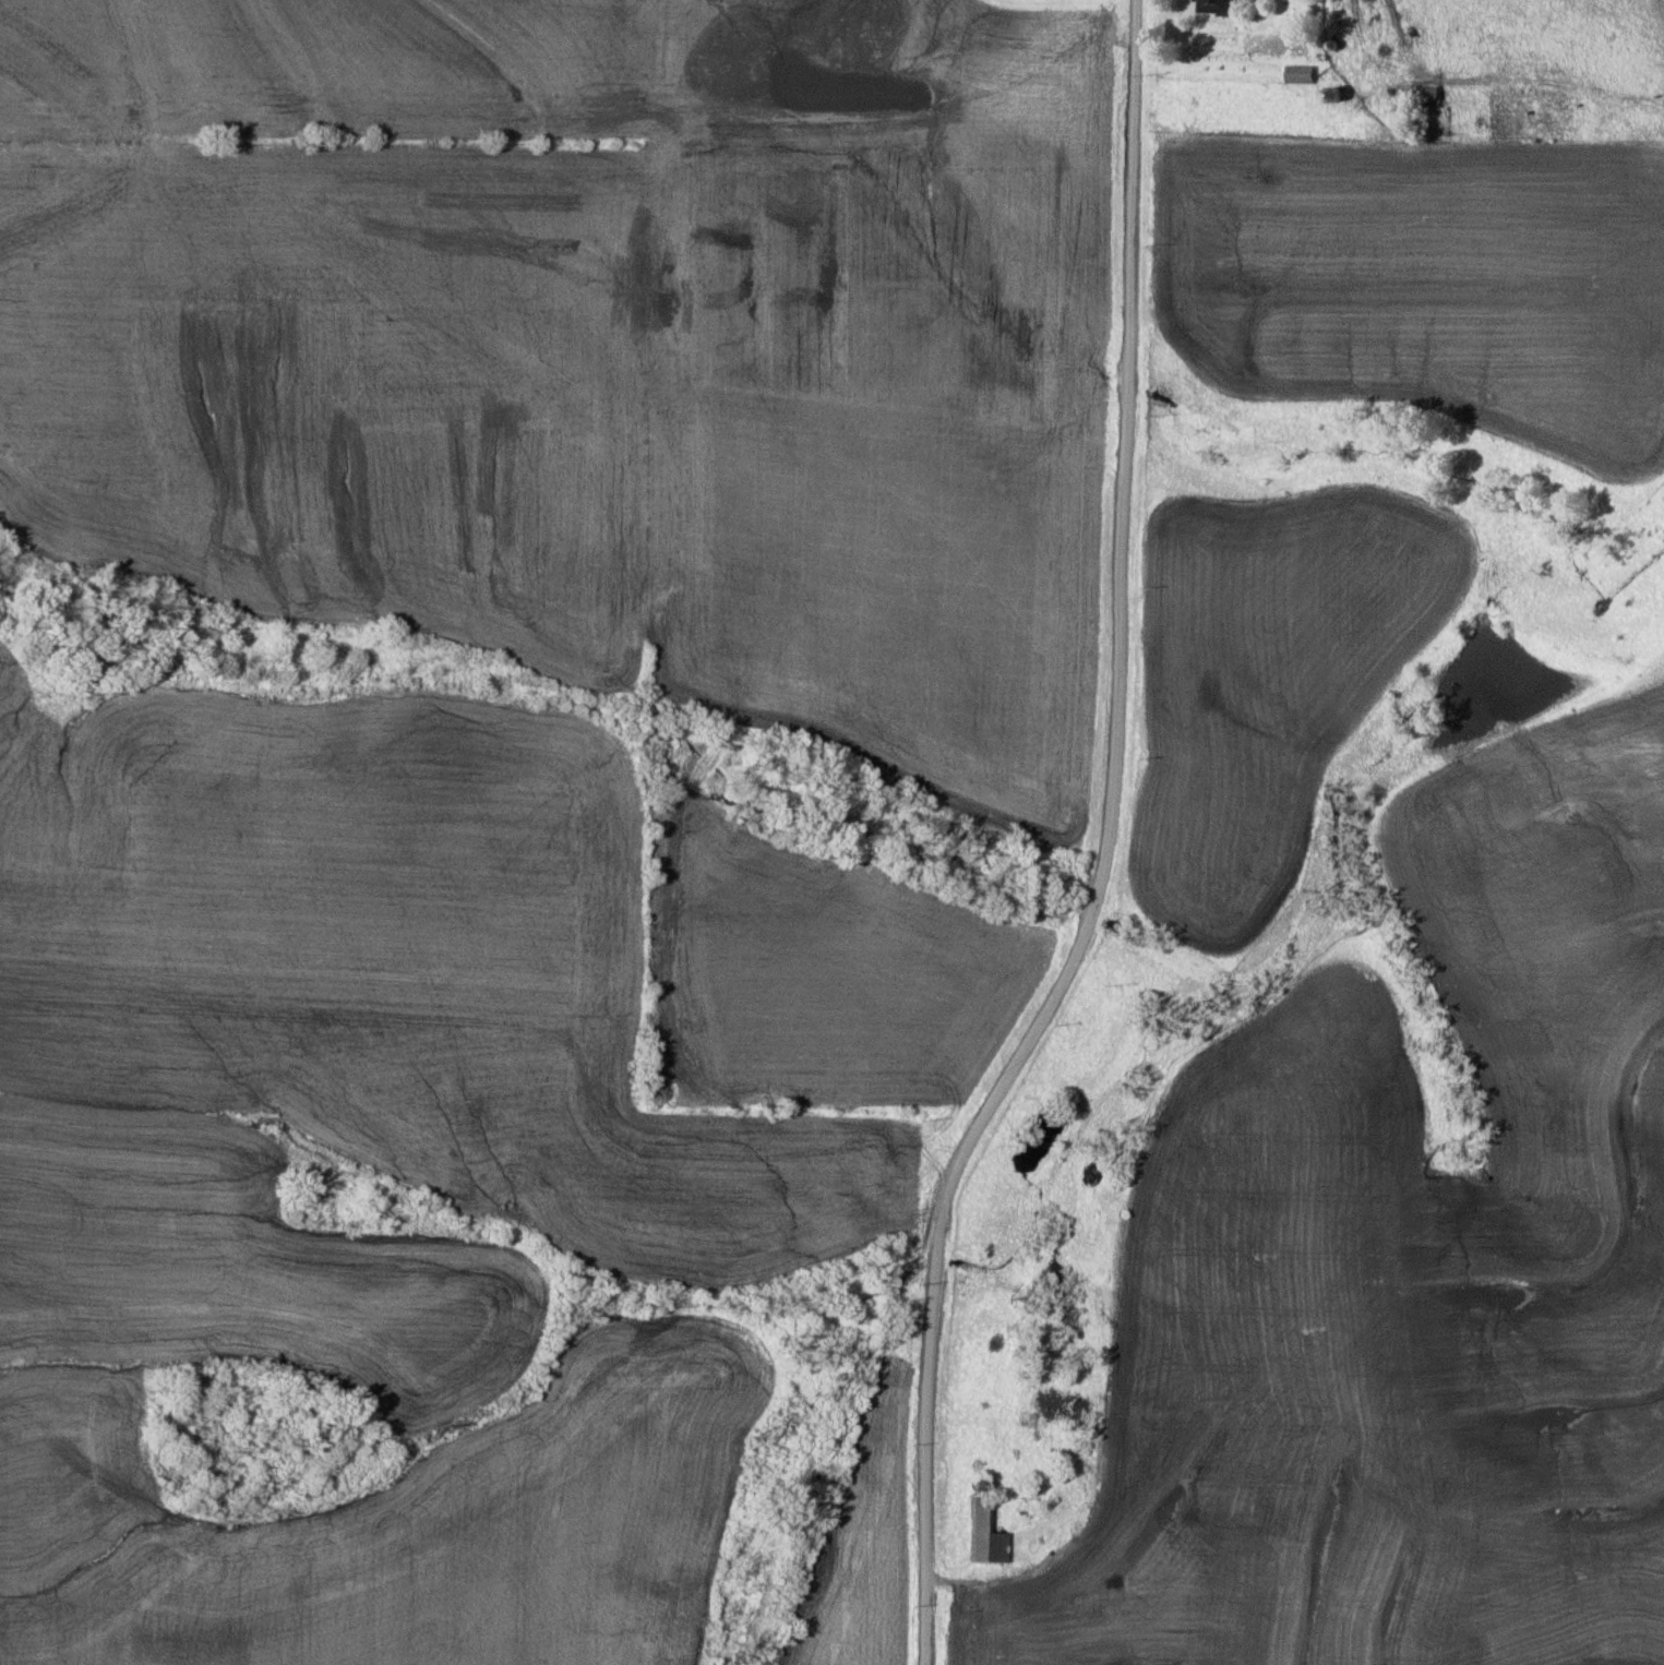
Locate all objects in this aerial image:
building: (1212, 8)
building: (1296, 74)
road: (1110, 852)
crop: (1405, 1279)
building: (982, 1534)

